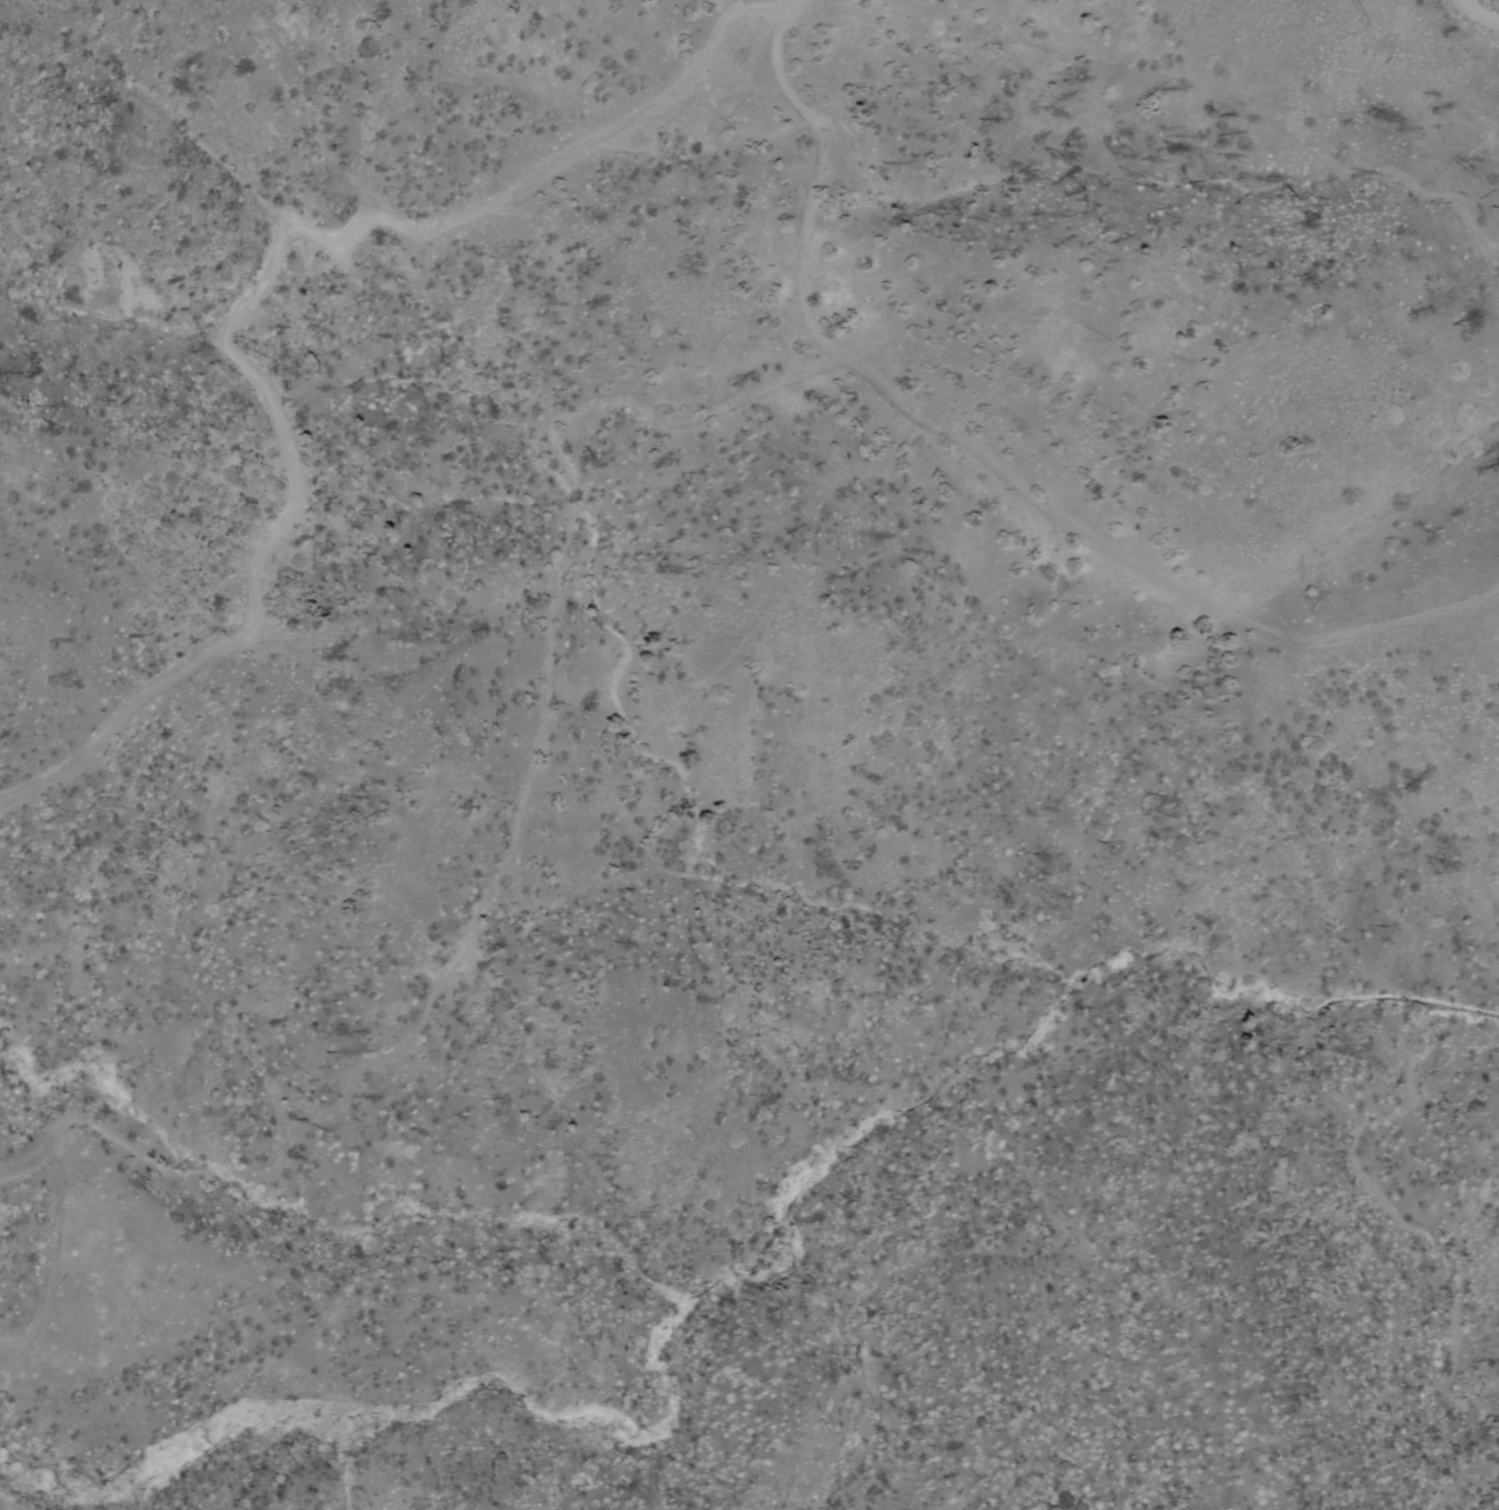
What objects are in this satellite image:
road: (247, 315)
road: (992, 456)
road: (54, 1236)
road: (1, 1508)

